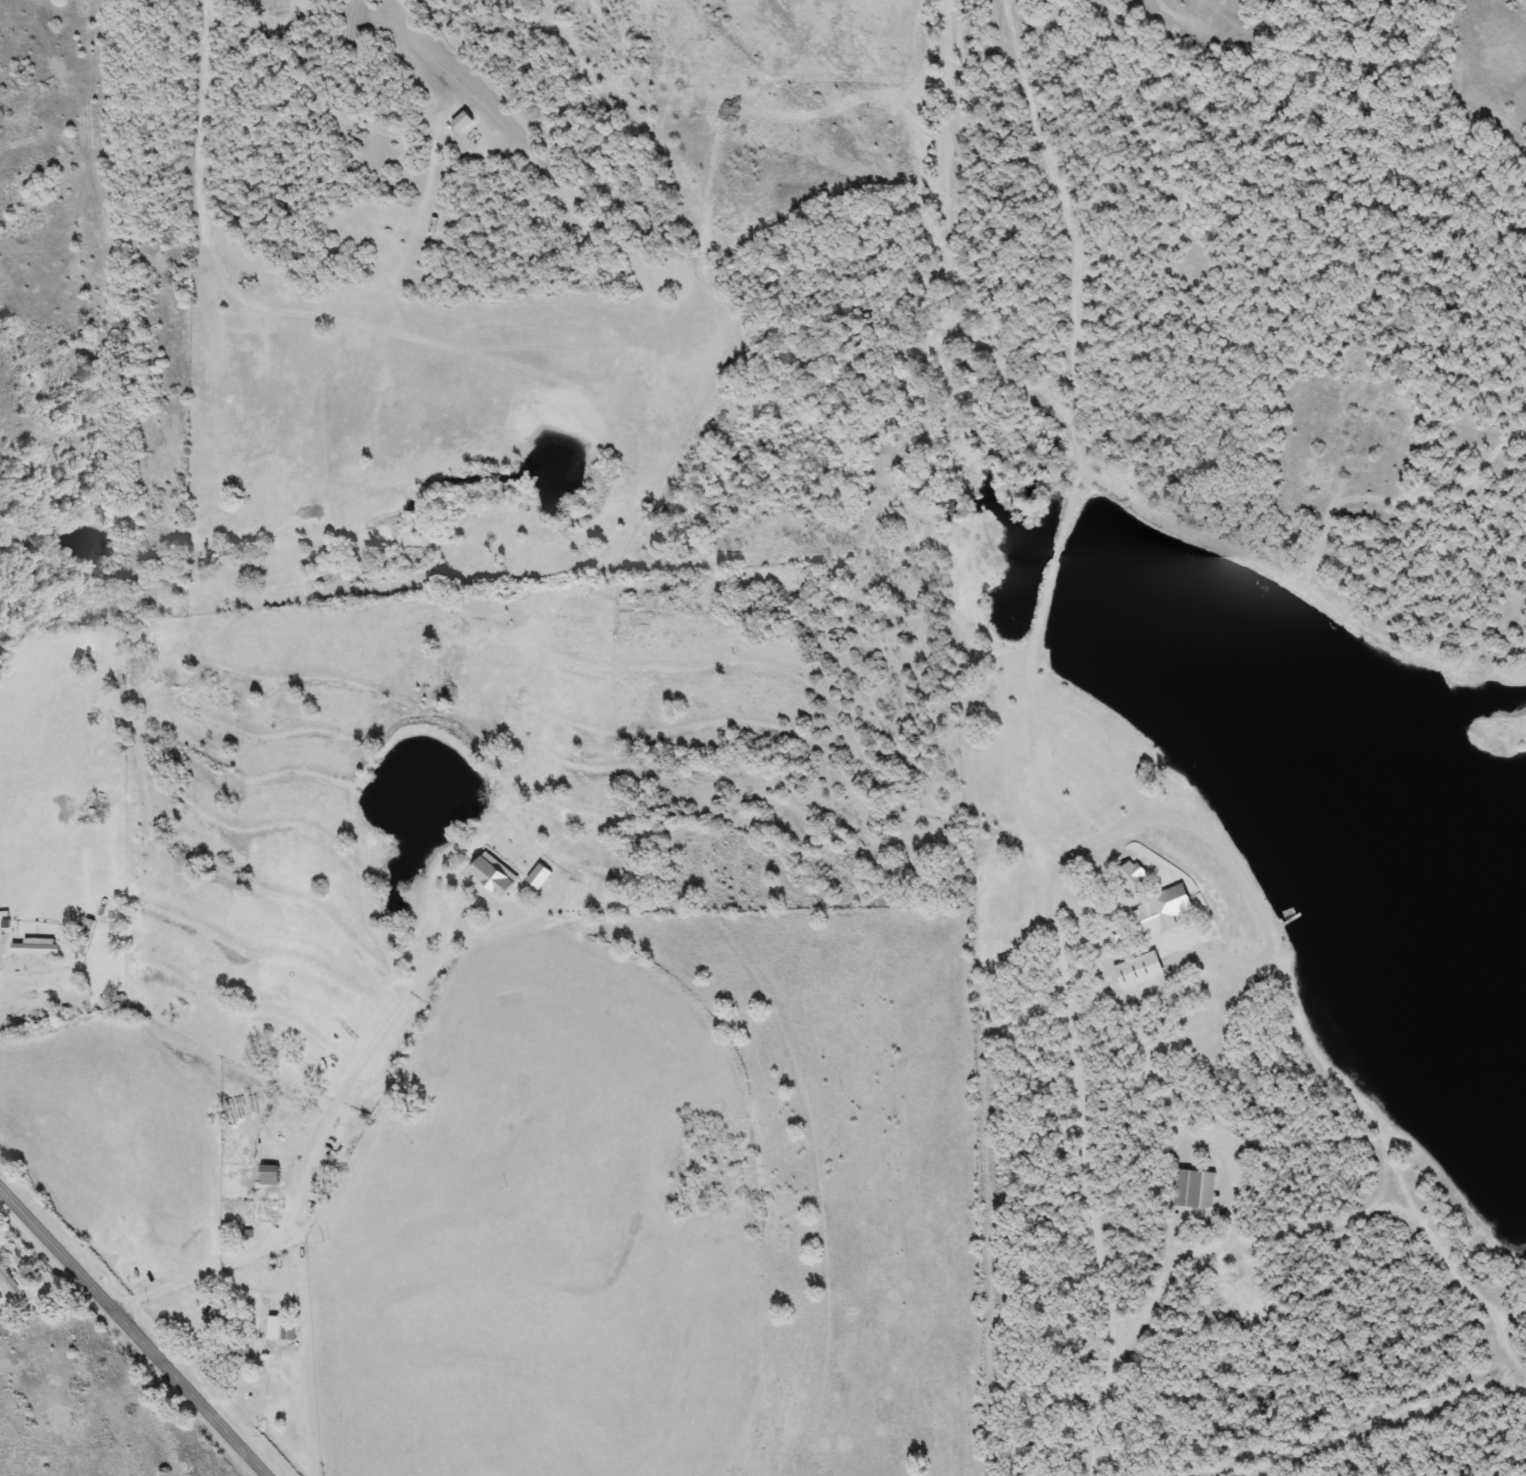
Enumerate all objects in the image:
road: (1217, 845)
building: (1132, 875)
road: (1119, 902)
building: (1154, 915)
building: (34, 949)
road: (1112, 953)
building: (1134, 972)
road: (22, 986)
building: (5, 1008)
road: (333, 1112)
road: (1224, 1166)
building: (269, 1174)
building: (1194, 1188)
road: (1096, 1227)
building: (279, 1328)
road: (133, 1332)
building: (243, 1351)

